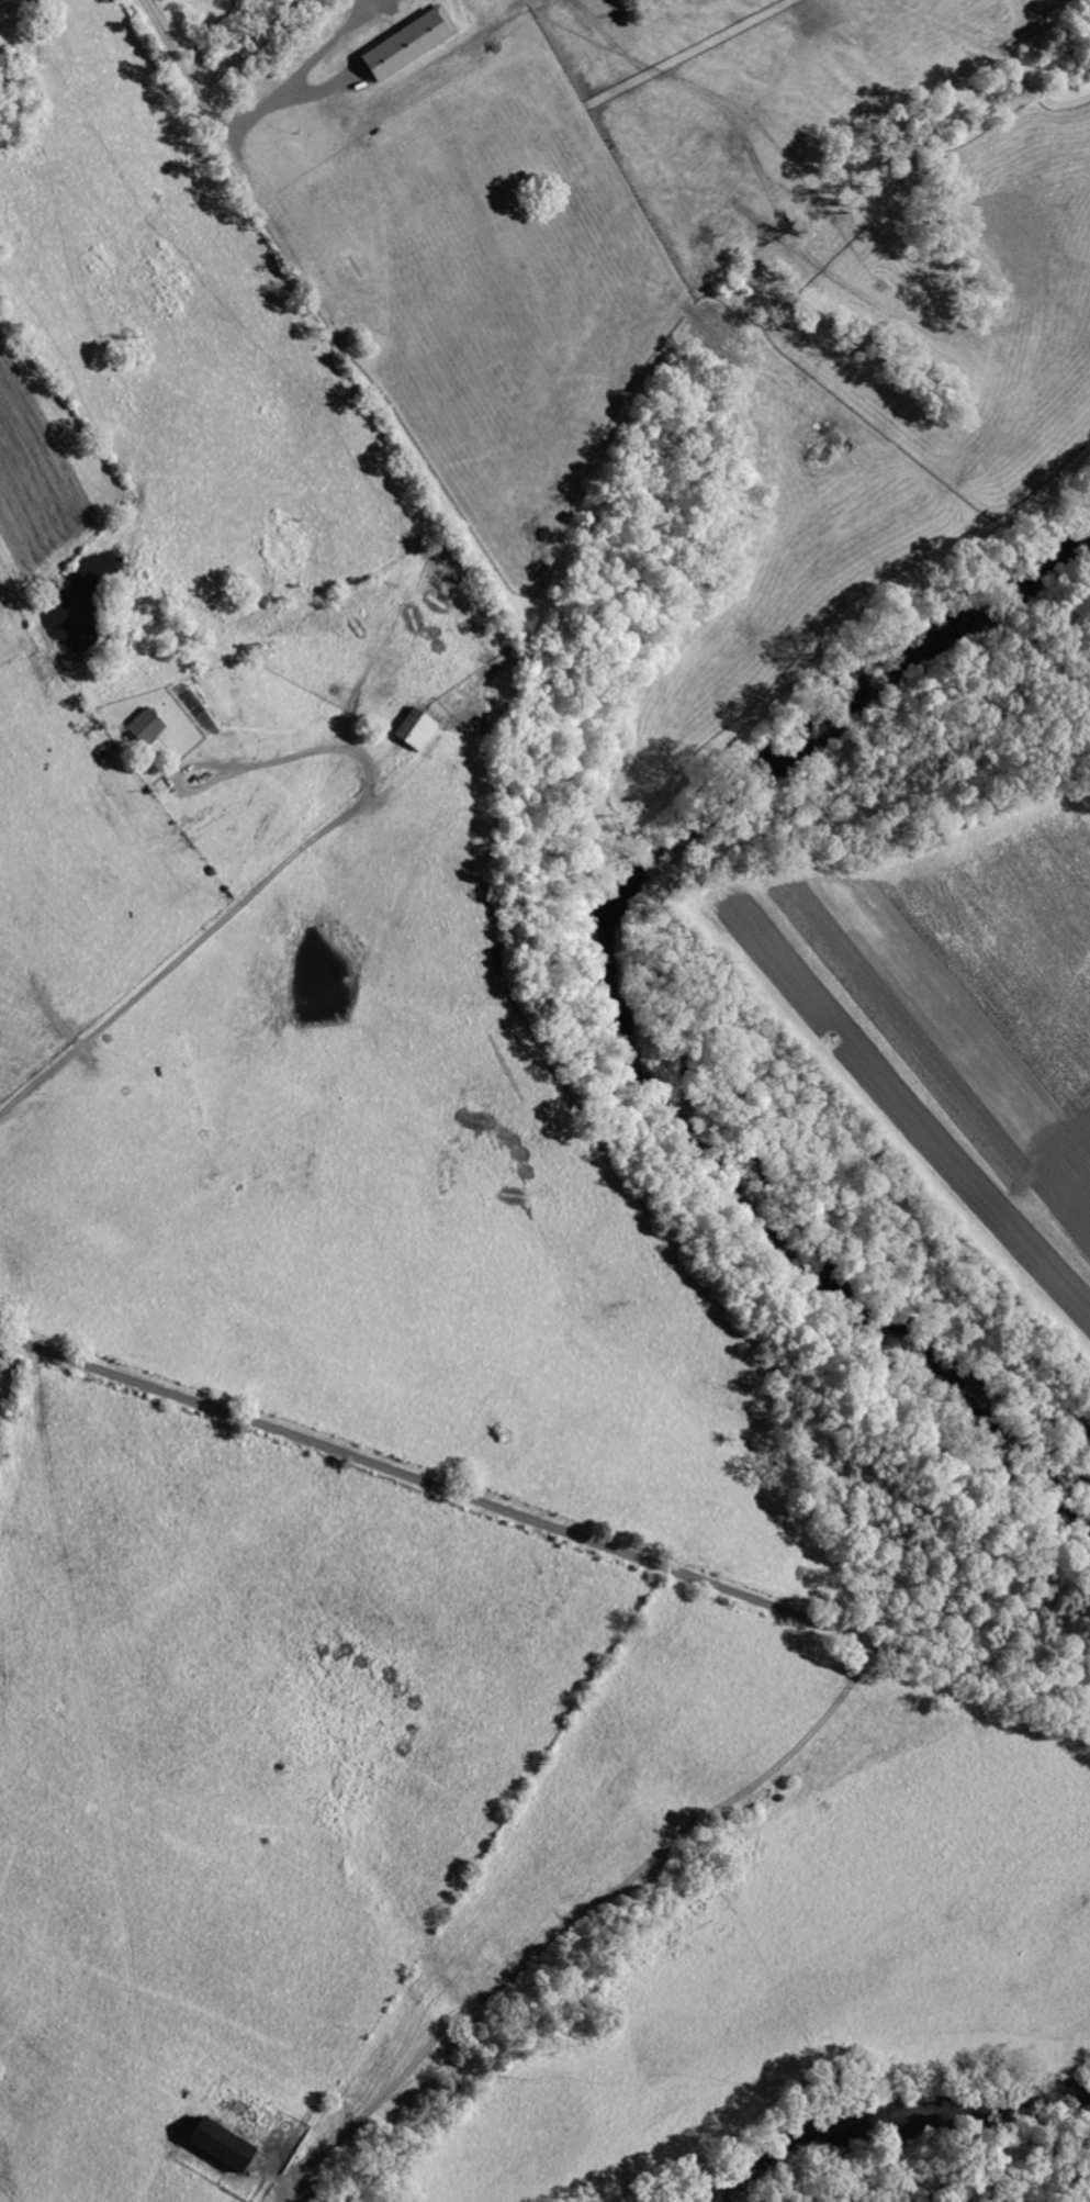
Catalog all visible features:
building: (407, 44)
road: (209, 102)
building: (144, 728)
building: (415, 731)
road: (259, 887)
river: (619, 995)
road: (451, 1491)
road: (586, 1912)
river: (880, 2124)
building: (217, 2145)

